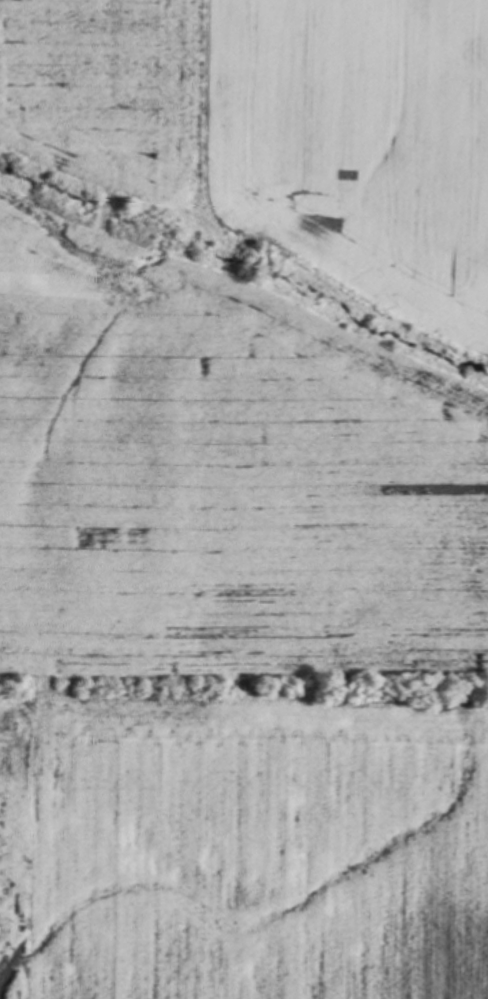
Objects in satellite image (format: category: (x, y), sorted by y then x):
crop: (244, 499)

